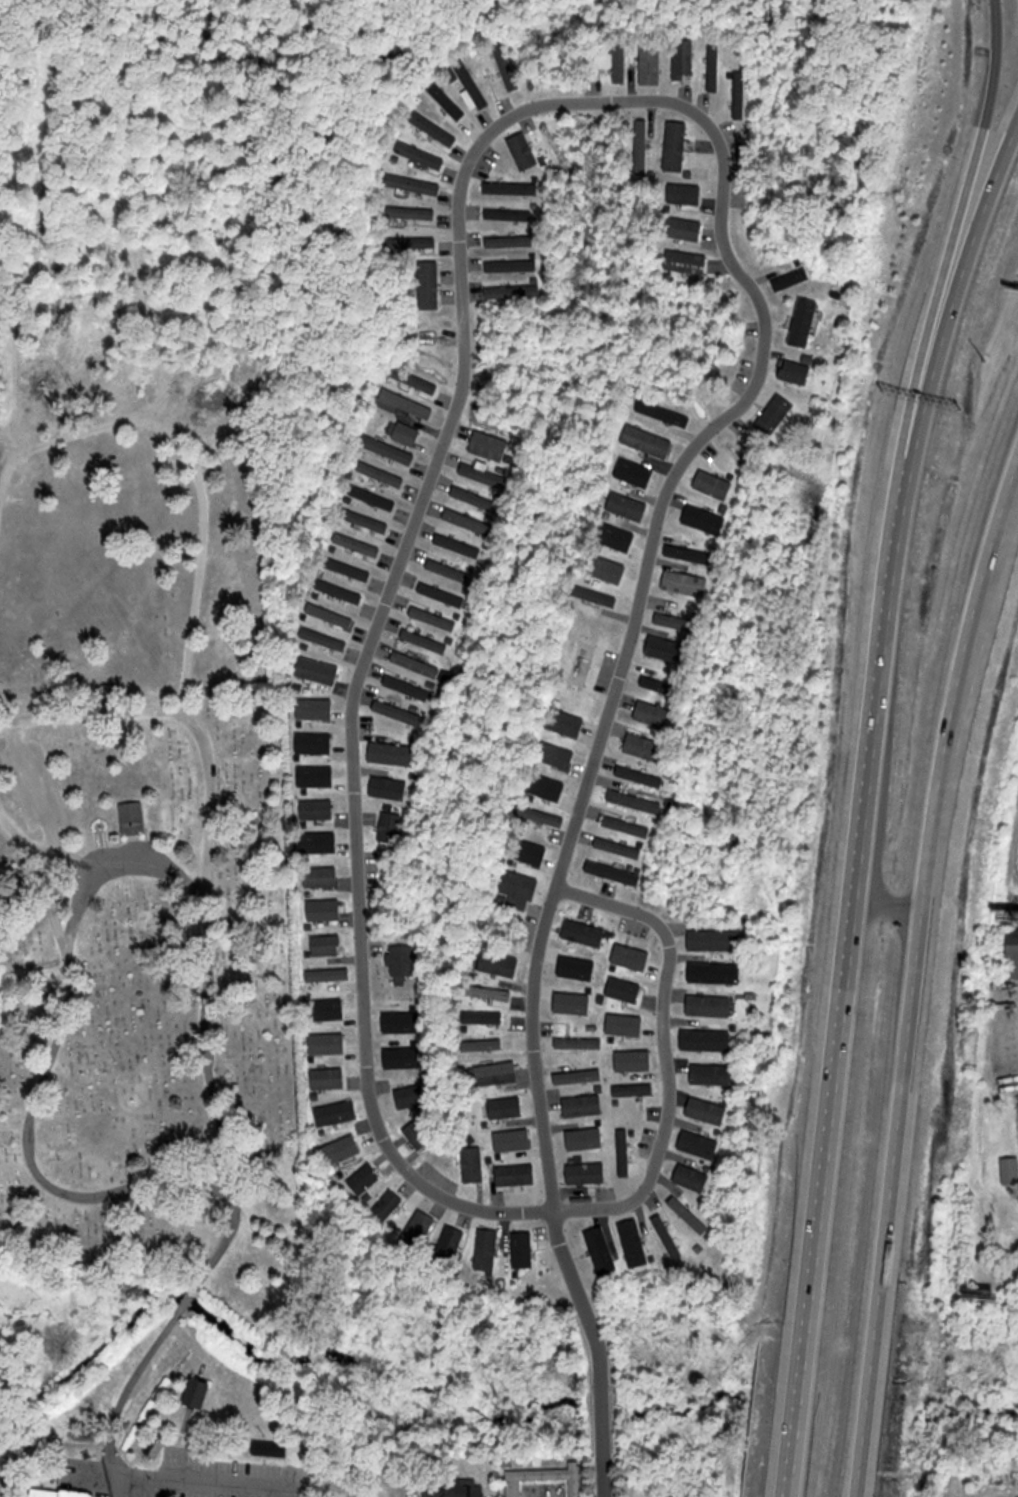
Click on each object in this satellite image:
building: (684, 59)
building: (651, 63)
building: (505, 64)
building: (714, 66)
building: (741, 94)
road: (991, 95)
building: (470, 97)
road: (557, 104)
building: (432, 127)
building: (677, 145)
building: (524, 150)
building: (421, 154)
building: (413, 183)
building: (511, 187)
building: (685, 192)
building: (412, 211)
building: (508, 214)
building: (683, 227)
building: (511, 240)
building: (412, 241)
building: (687, 261)
building: (512, 264)
building: (430, 284)
building: (513, 291)
building: (804, 321)
building: (796, 371)
building: (415, 381)
building: (403, 403)
building: (776, 414)
building: (404, 432)
building: (648, 440)
building: (490, 444)
building: (388, 448)
building: (381, 474)
building: (484, 475)
building: (713, 483)
building: (373, 497)
building: (475, 498)
building: (628, 505)
building: (705, 518)
building: (365, 519)
building: (468, 521)
building: (358, 543)
building: (458, 545)
road: (201, 558)
building: (348, 568)
building: (450, 570)
building: (443, 594)
building: (594, 594)
building: (434, 617)
building: (678, 621)
building: (324, 637)
building: (425, 640)
building: (420, 664)
building: (318, 669)
building: (407, 687)
building: (653, 712)
road: (96, 713)
building: (400, 713)
building: (643, 745)
building: (393, 753)
building: (640, 776)
road: (34, 785)
parking lot: (36, 785)
building: (389, 787)
road: (862, 795)
building: (635, 800)
building: (318, 809)
building: (133, 816)
building: (627, 825)
building: (390, 827)
building: (618, 847)
road: (40, 850)
road: (95, 868)
building: (608, 870)
building: (322, 876)
building: (520, 888)
park: (148, 895)
road: (50, 905)
building: (326, 909)
building: (585, 932)
building: (714, 939)
building: (327, 944)
building: (1012, 957)
building: (403, 959)
building: (499, 963)
road: (909, 967)
building: (625, 989)
building: (709, 1005)
building: (483, 1016)
building: (706, 1040)
building: (578, 1043)
road: (664, 1049)
building: (497, 1073)
building: (713, 1074)
building: (329, 1078)
building: (633, 1090)
building: (410, 1097)
building: (584, 1106)
building: (506, 1108)
building: (337, 1113)
building: (420, 1135)
building: (698, 1144)
building: (624, 1153)
building: (473, 1164)
building: (1010, 1170)
building: (691, 1178)
building: (366, 1179)
building: (389, 1204)
building: (419, 1230)
building: (668, 1237)
building: (450, 1243)
building: (634, 1243)
building: (488, 1249)
building: (602, 1250)
road: (185, 1299)
road: (197, 1346)
road: (599, 1350)
building: (199, 1393)
road: (121, 1396)
building: (271, 1449)
building: (545, 1478)
road: (206, 1481)
building: (455, 1487)
building: (63, 1493)

